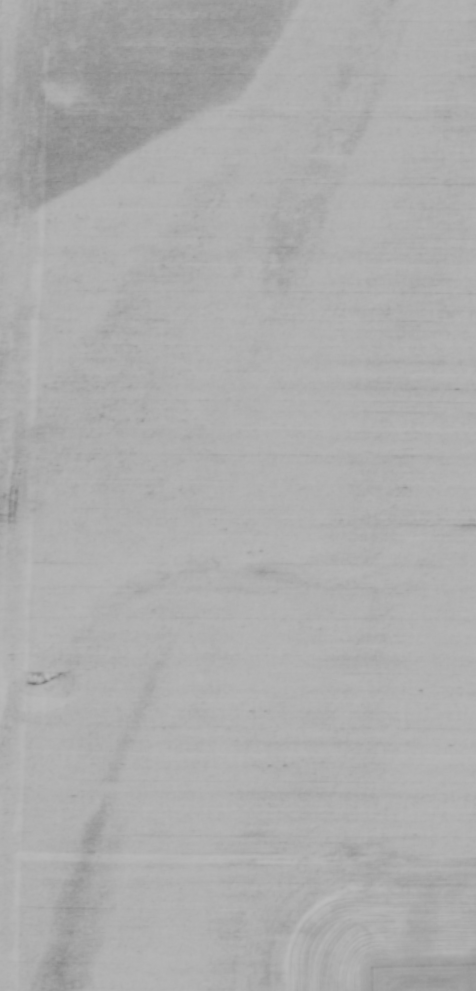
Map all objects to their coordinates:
crop: (238, 495)

